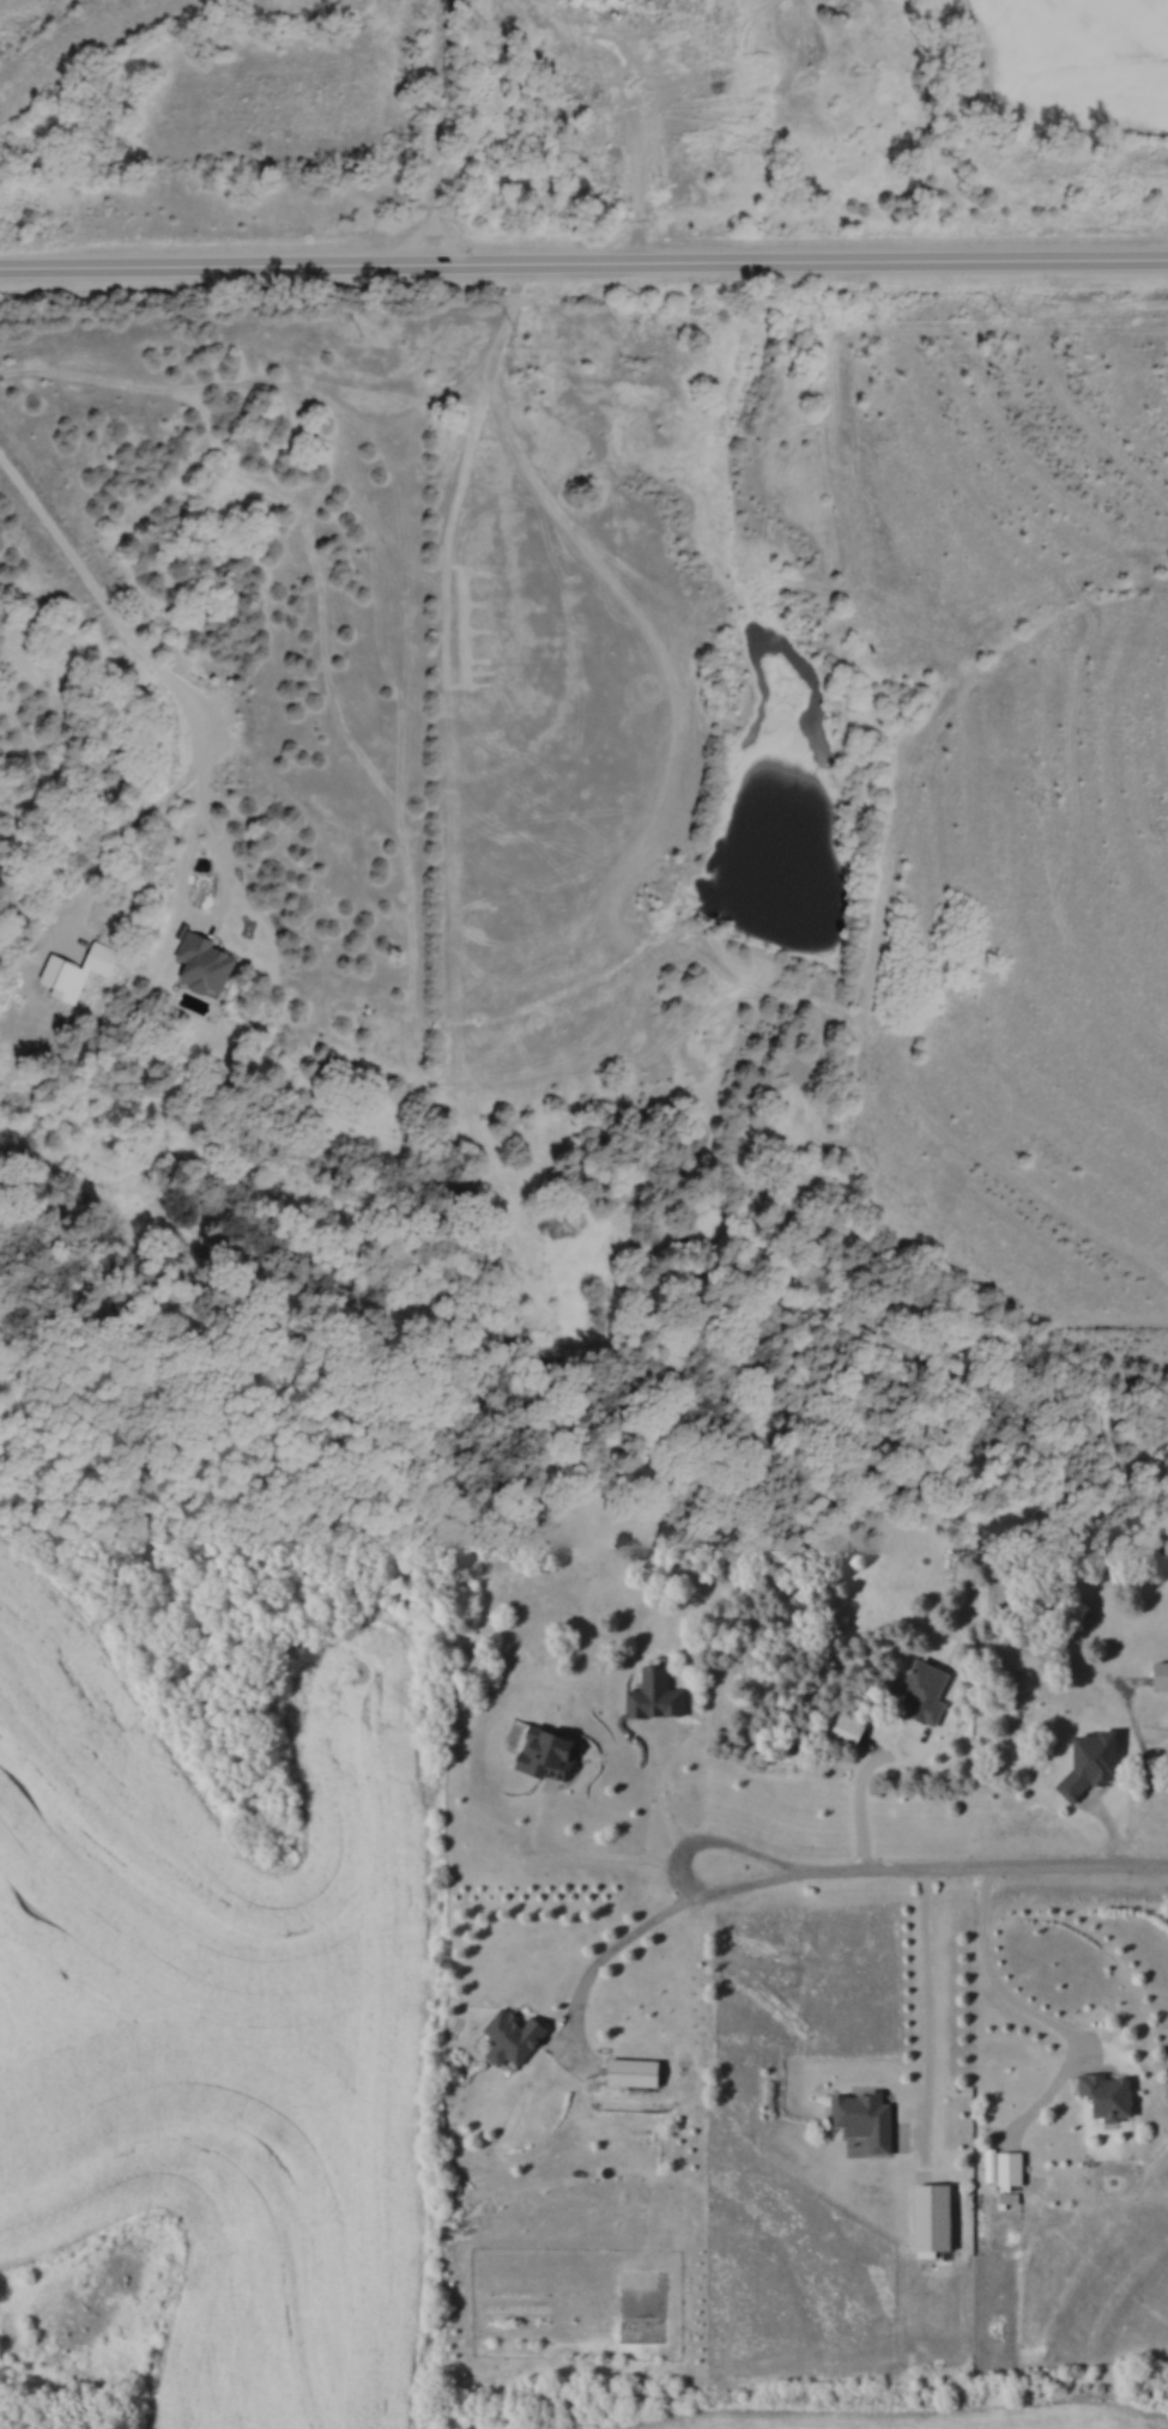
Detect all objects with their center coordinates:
building: (701, 5)
building: (842, 7)
building: (576, 143)
building: (696, 153)
road: (644, 180)
building: (581, 182)
road: (583, 265)
road: (176, 678)
road: (120, 830)
building: (198, 961)
building: (918, 1692)
building: (648, 1695)
building: (840, 1727)
building: (538, 1750)
building: (1084, 1762)
road: (859, 1787)
road: (580, 1850)
road: (674, 1862)
road: (979, 1867)
road: (595, 1962)
road: (925, 2005)
road: (1037, 2013)
building: (504, 2036)
building: (624, 2072)
building: (1099, 2096)
building: (855, 2119)
building: (1003, 2169)
building: (924, 2219)

